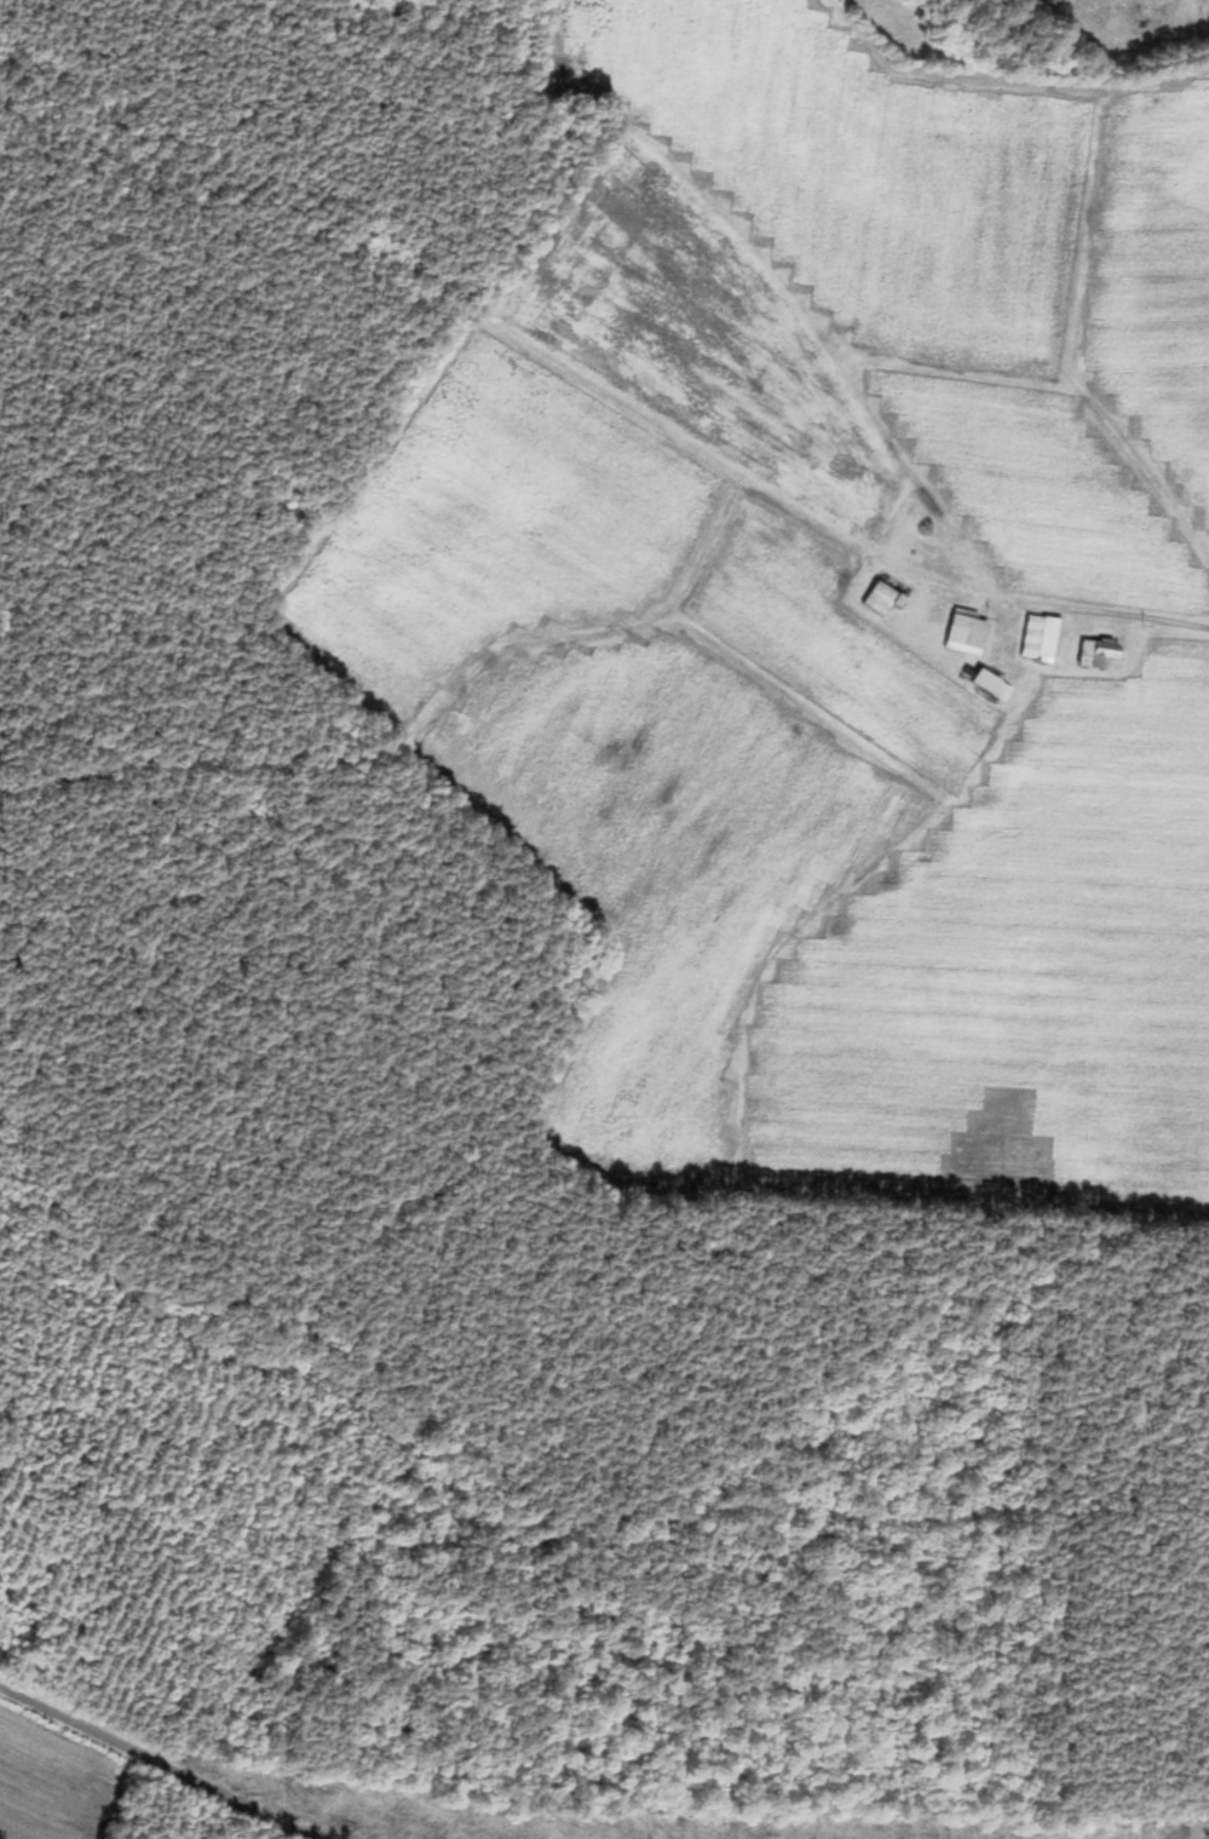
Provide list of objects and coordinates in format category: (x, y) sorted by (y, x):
building: (882, 598)
road: (1142, 623)
building: (963, 632)
building: (1046, 638)
building: (1093, 654)
building: (981, 682)
road: (163, 1762)

